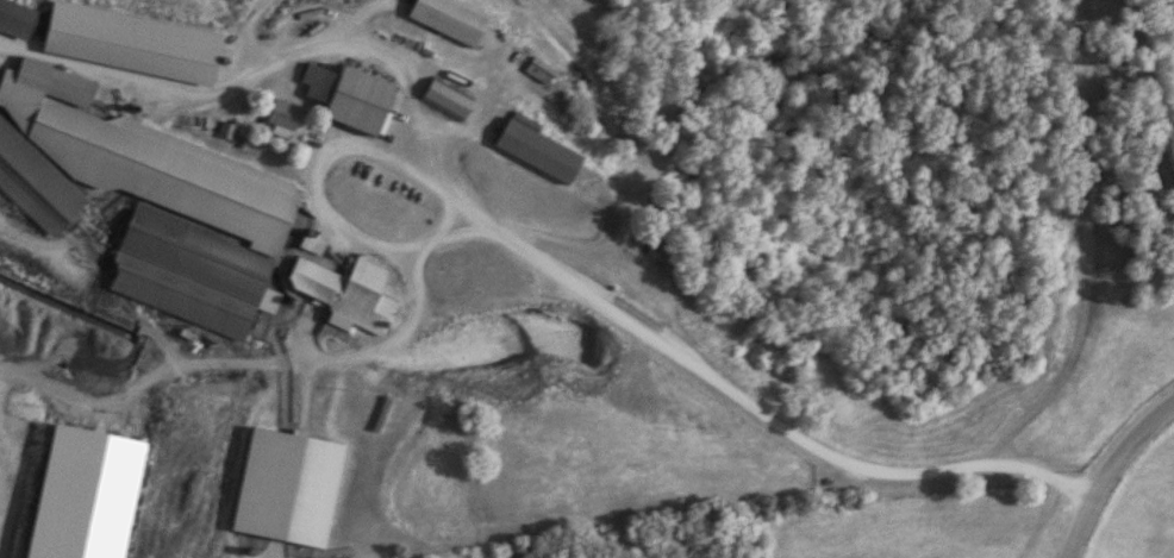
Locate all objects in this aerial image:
building: (13, 19)
building: (445, 19)
building: (124, 44)
road: (264, 70)
building: (345, 99)
building: (443, 99)
road: (1148, 102)
building: (279, 117)
building: (532, 152)
building: (142, 201)
road: (530, 261)
building: (343, 295)
road: (1110, 471)
building: (291, 485)

